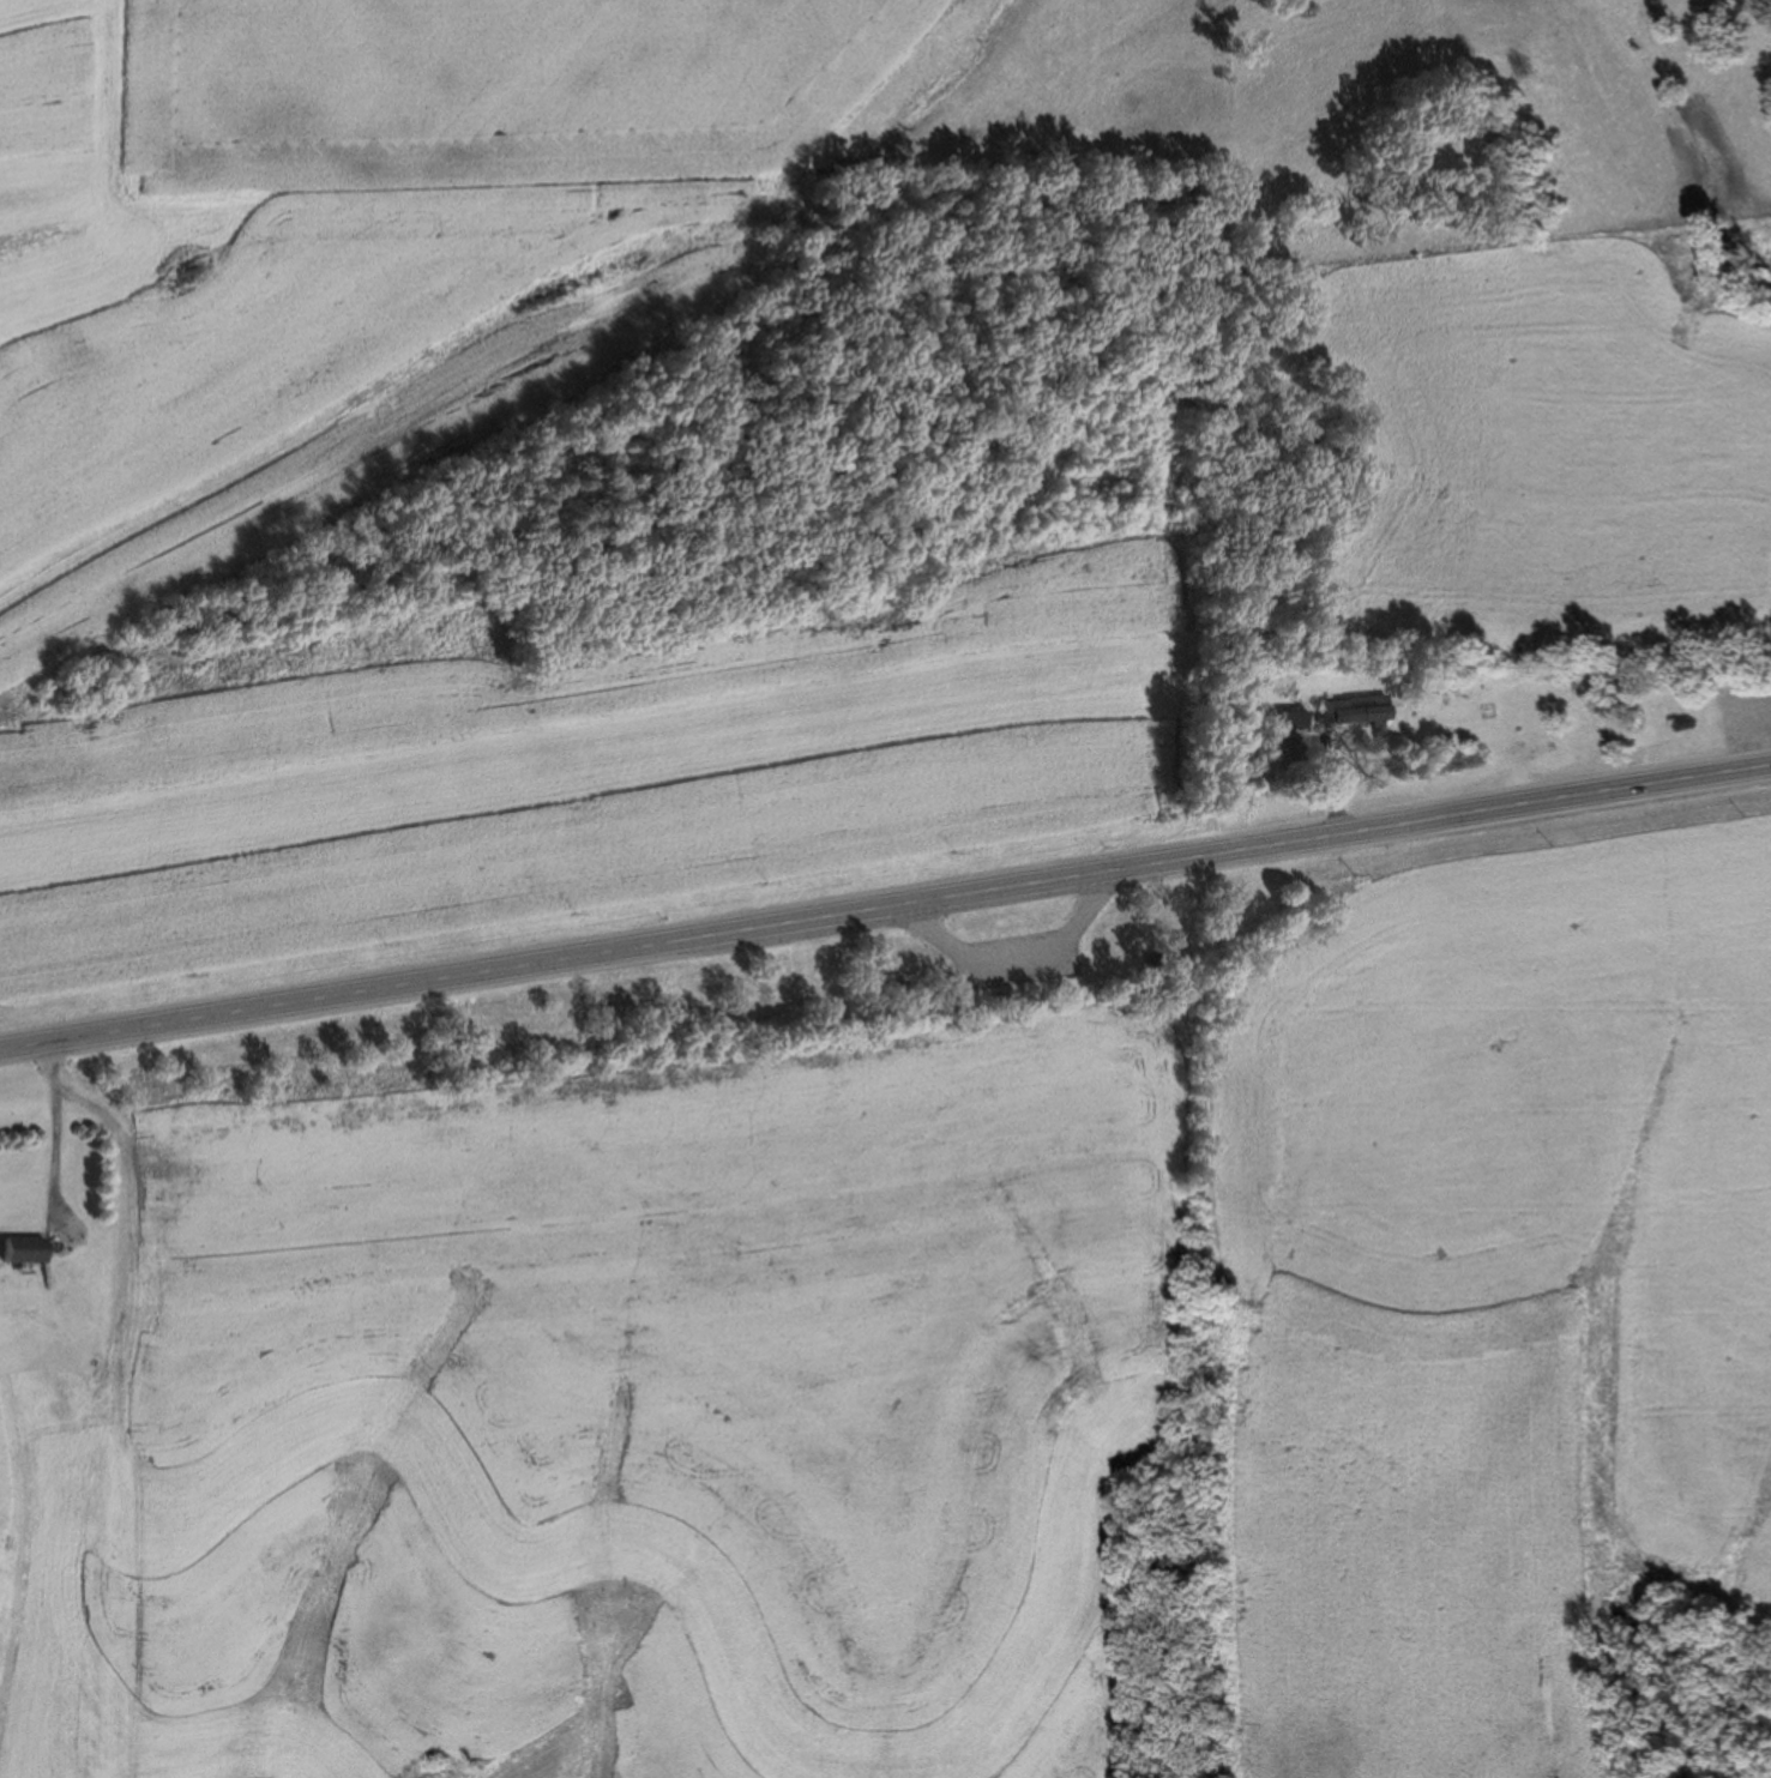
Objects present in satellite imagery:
road: (1759, 11)
building: (1356, 713)
building: (1295, 723)
road: (885, 909)
road: (1013, 945)
building: (1155, 958)
parking lot: (1016, 965)
building: (26, 1250)

